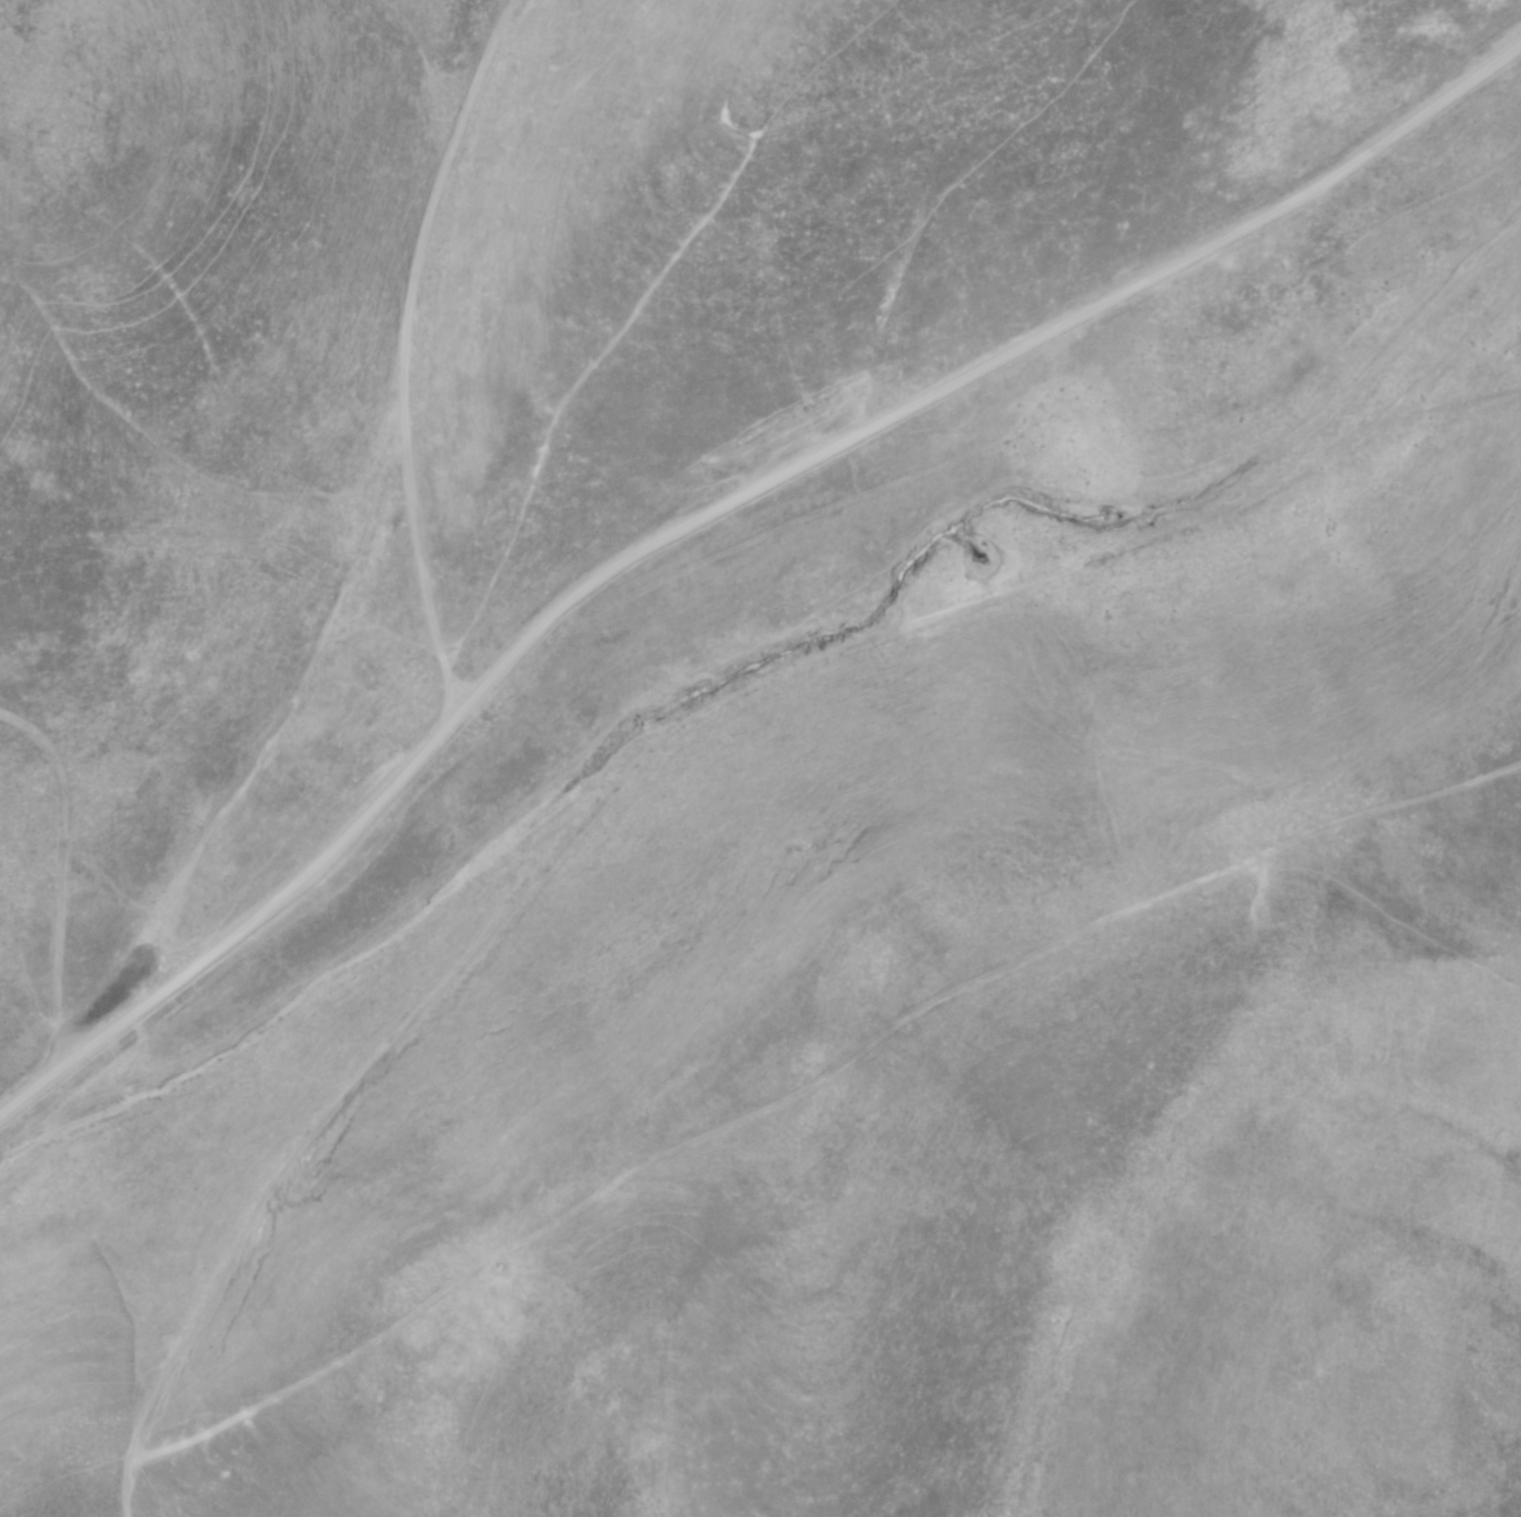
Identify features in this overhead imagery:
road: (1353, 240)
road: (1454, 349)
road: (458, 354)
road: (973, 371)
road: (649, 747)
road: (235, 932)

